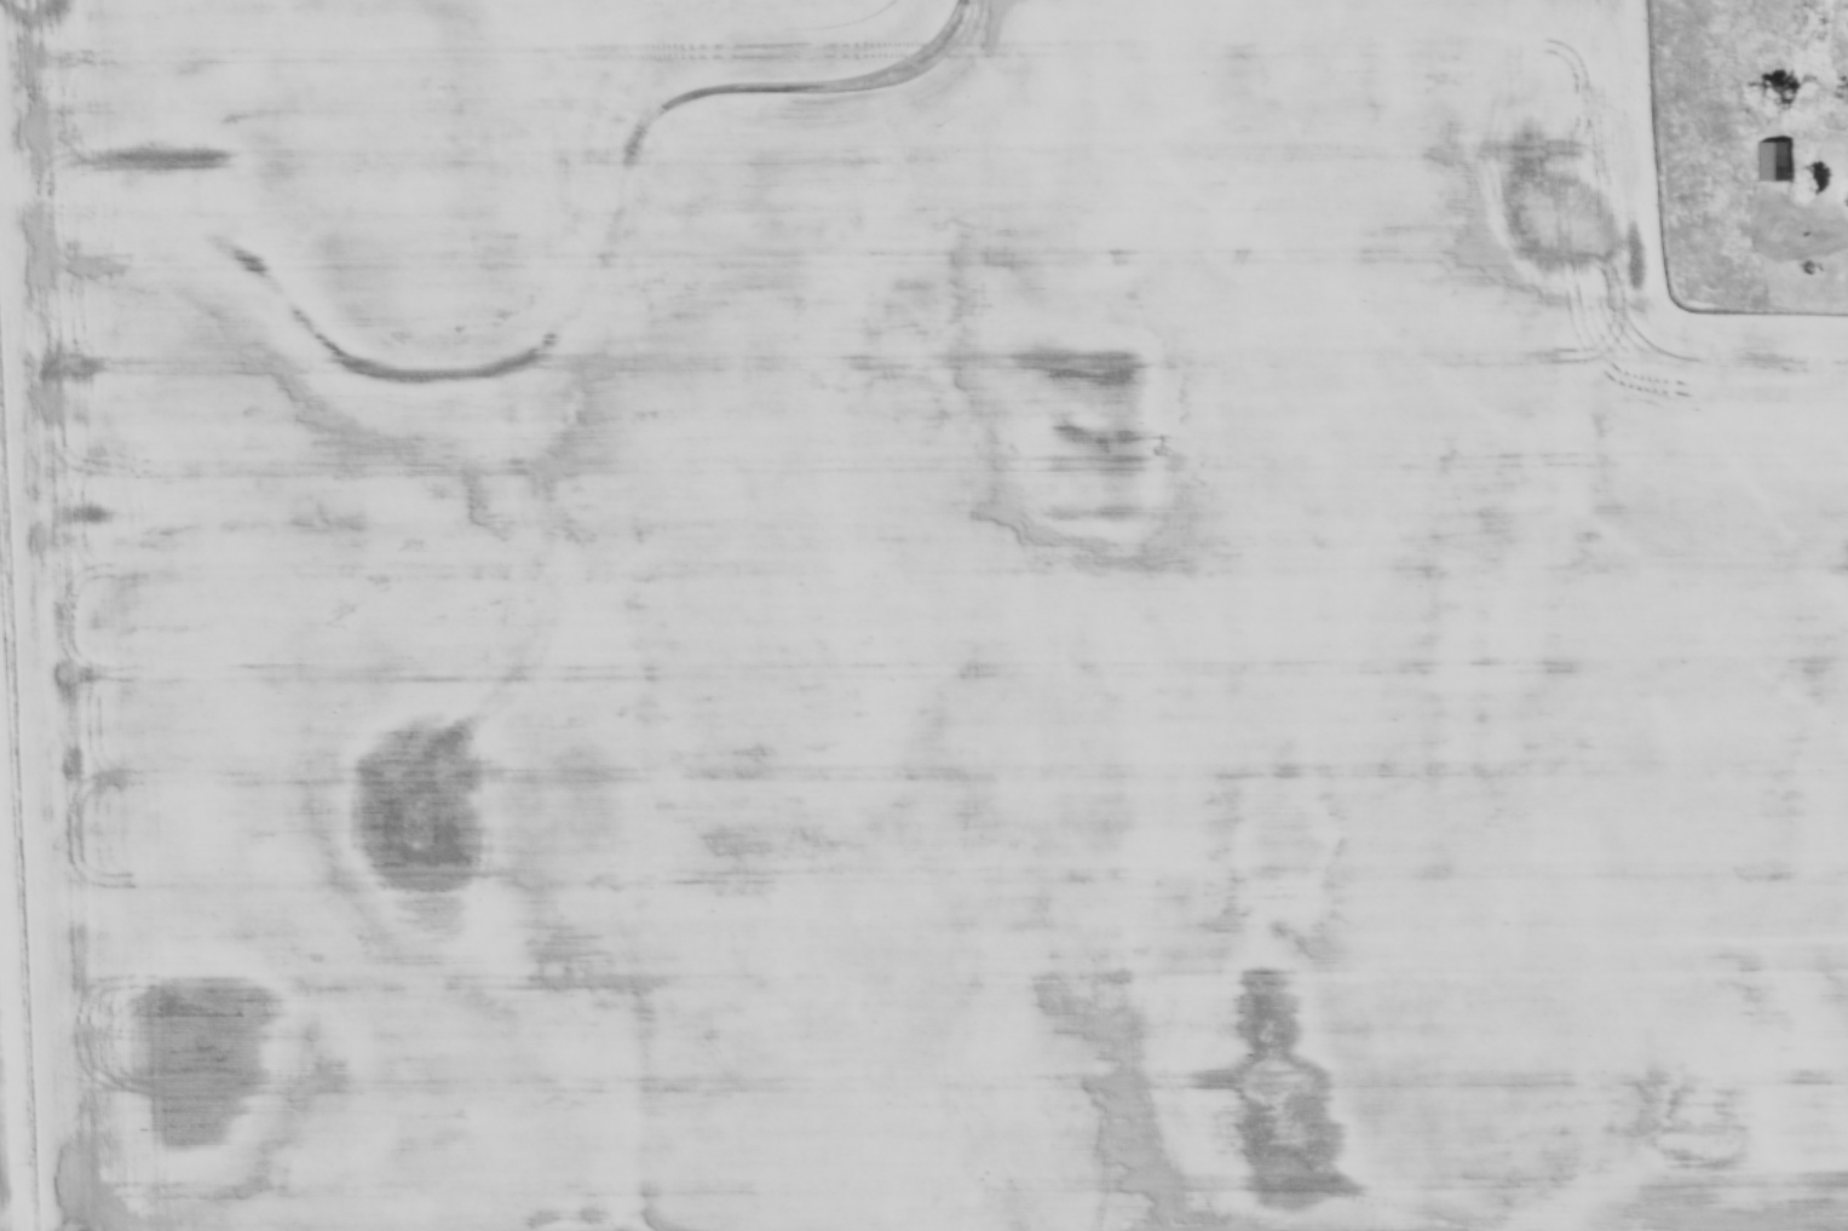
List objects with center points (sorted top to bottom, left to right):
road: (1728, 19)
building: (1768, 161)
building: (1846, 196)
road: (1844, 229)
road: (1780, 245)

